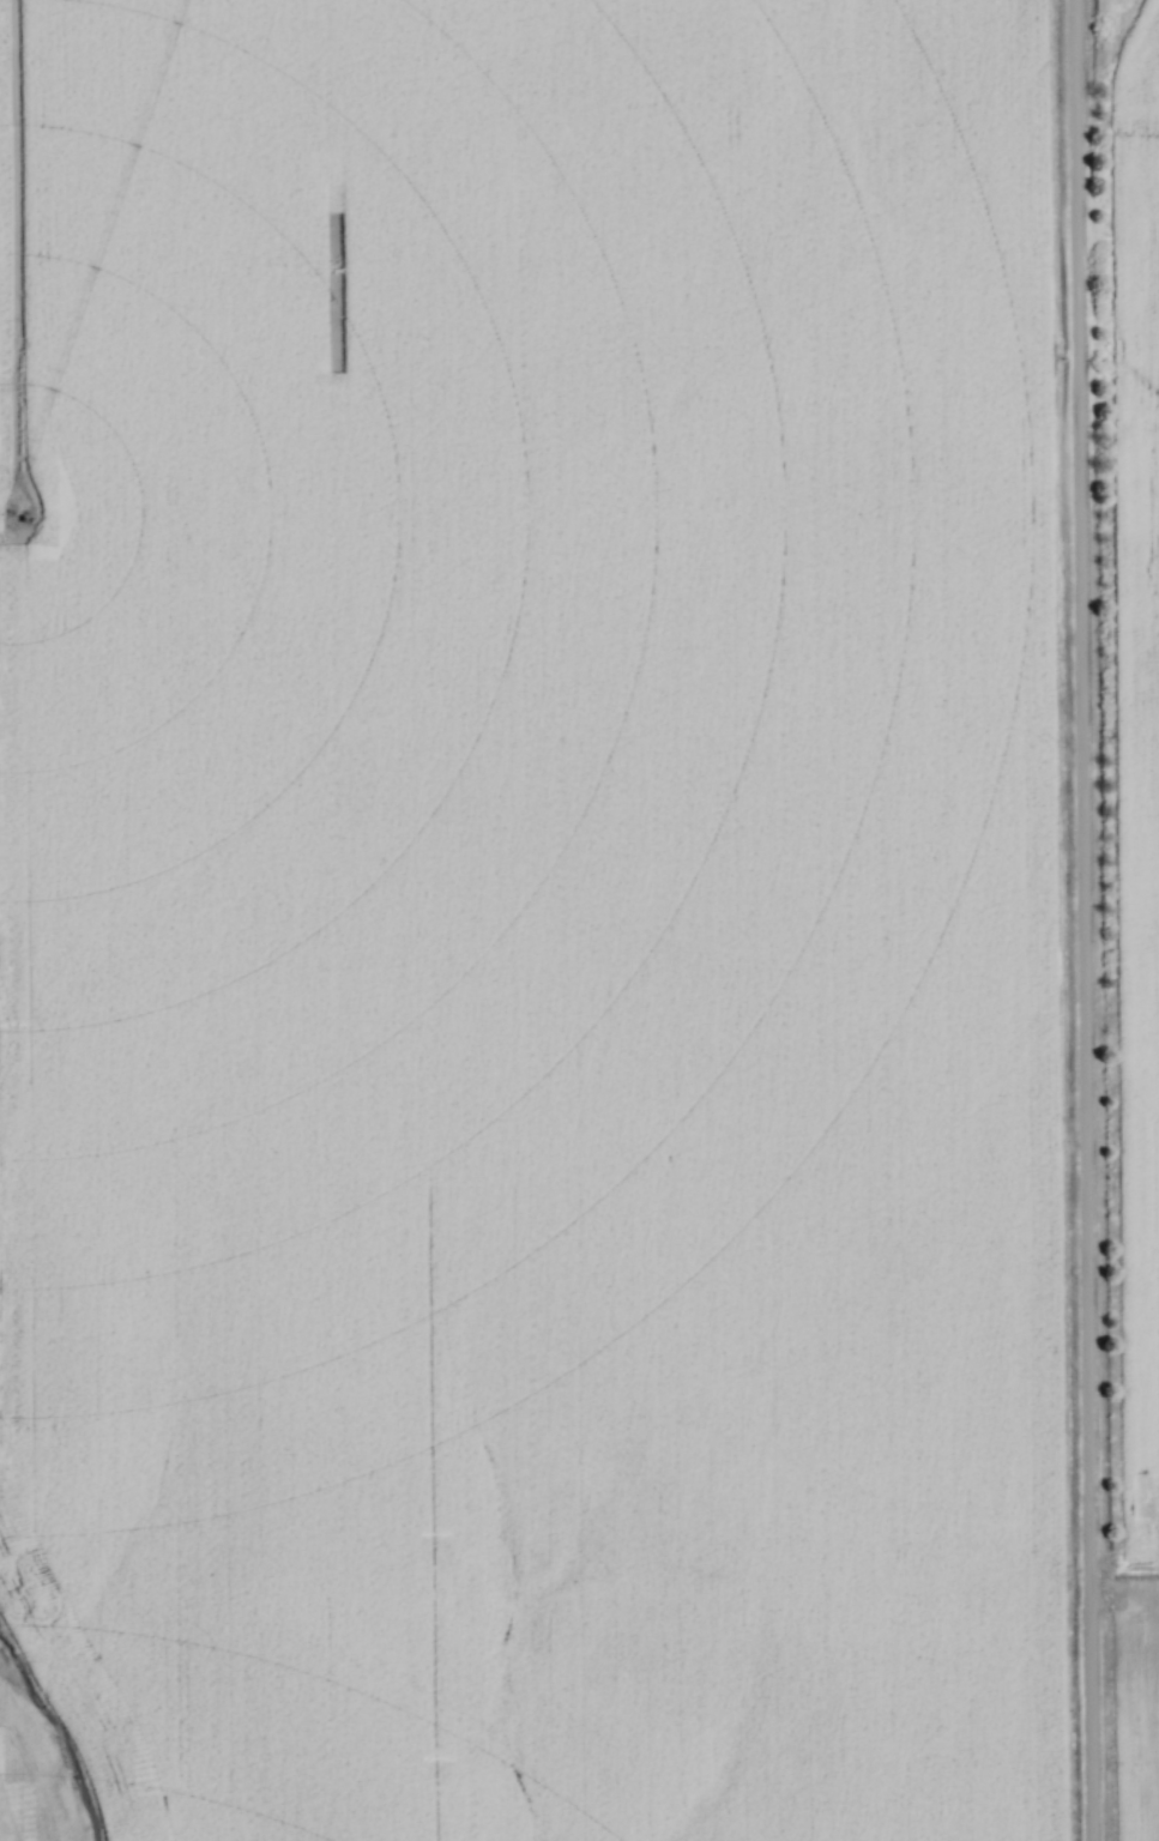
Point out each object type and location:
road: (1080, 919)

